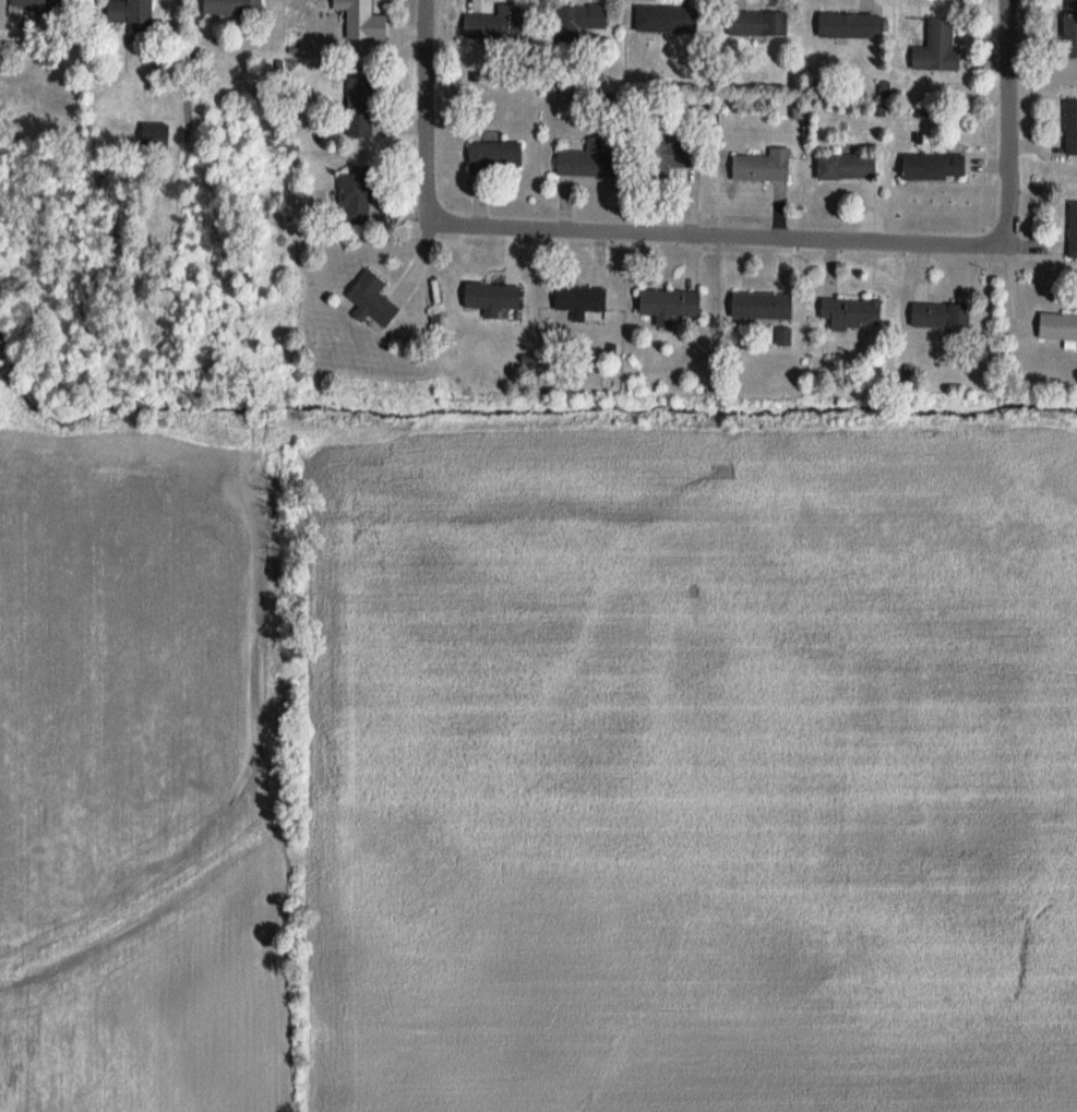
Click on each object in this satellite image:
building: (61, 4)
building: (474, 4)
building: (29, 7)
building: (235, 8)
building: (132, 11)
building: (363, 20)
building: (669, 20)
building: (578, 21)
building: (494, 24)
building: (759, 24)
building: (850, 26)
building: (1070, 28)
building: (938, 48)
building: (361, 106)
building: (1072, 128)
road: (435, 130)
building: (156, 136)
road: (1003, 151)
building: (496, 155)
building: (674, 158)
building: (589, 162)
building: (763, 167)
building: (847, 167)
building: (934, 167)
building: (356, 194)
building: (1073, 230)
road: (714, 235)
building: (493, 296)
building: (372, 299)
building: (581, 300)
building: (671, 302)
building: (763, 306)
building: (853, 313)
building: (941, 315)
building: (1057, 327)
crop: (537, 764)

